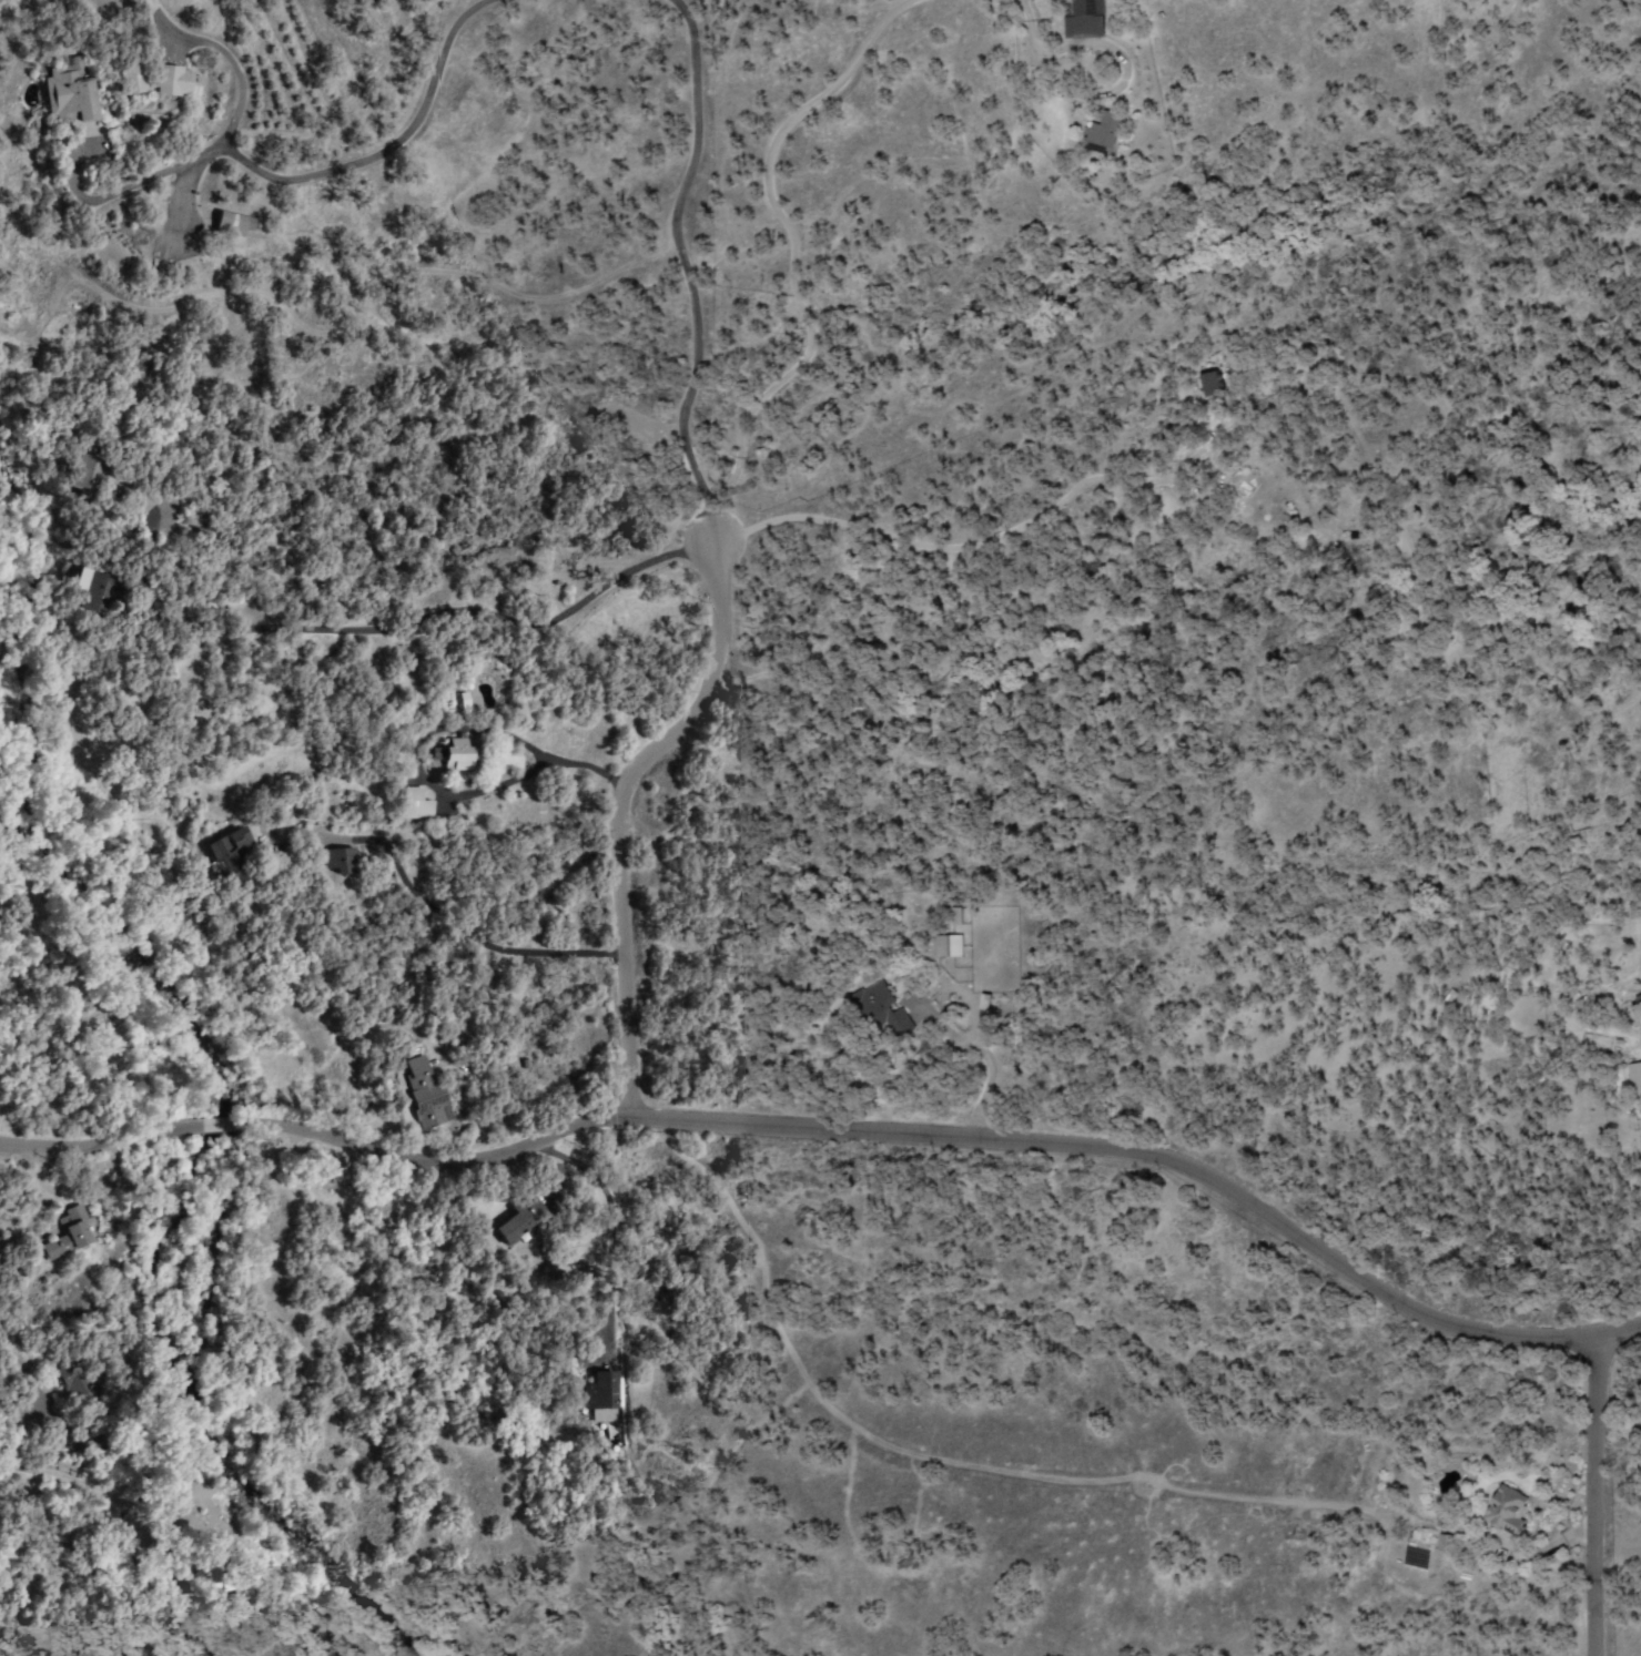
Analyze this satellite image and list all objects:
building: (1082, 20)
building: (132, 82)
building: (178, 84)
road: (861, 87)
building: (69, 94)
building: (1102, 135)
road: (300, 167)
road: (672, 207)
building: (231, 225)
building: (1211, 386)
river: (8, 426)
road: (510, 531)
road: (710, 570)
building: (89, 592)
river: (21, 728)
building: (453, 759)
building: (415, 807)
building: (233, 860)
building: (340, 864)
building: (946, 948)
building: (880, 1015)
building: (1634, 1081)
building: (425, 1093)
road: (811, 1129)
river: (246, 1209)
building: (523, 1223)
building: (73, 1229)
road: (1618, 1329)
building: (607, 1394)
road: (1596, 1495)
building: (1505, 1514)
river: (335, 1574)

